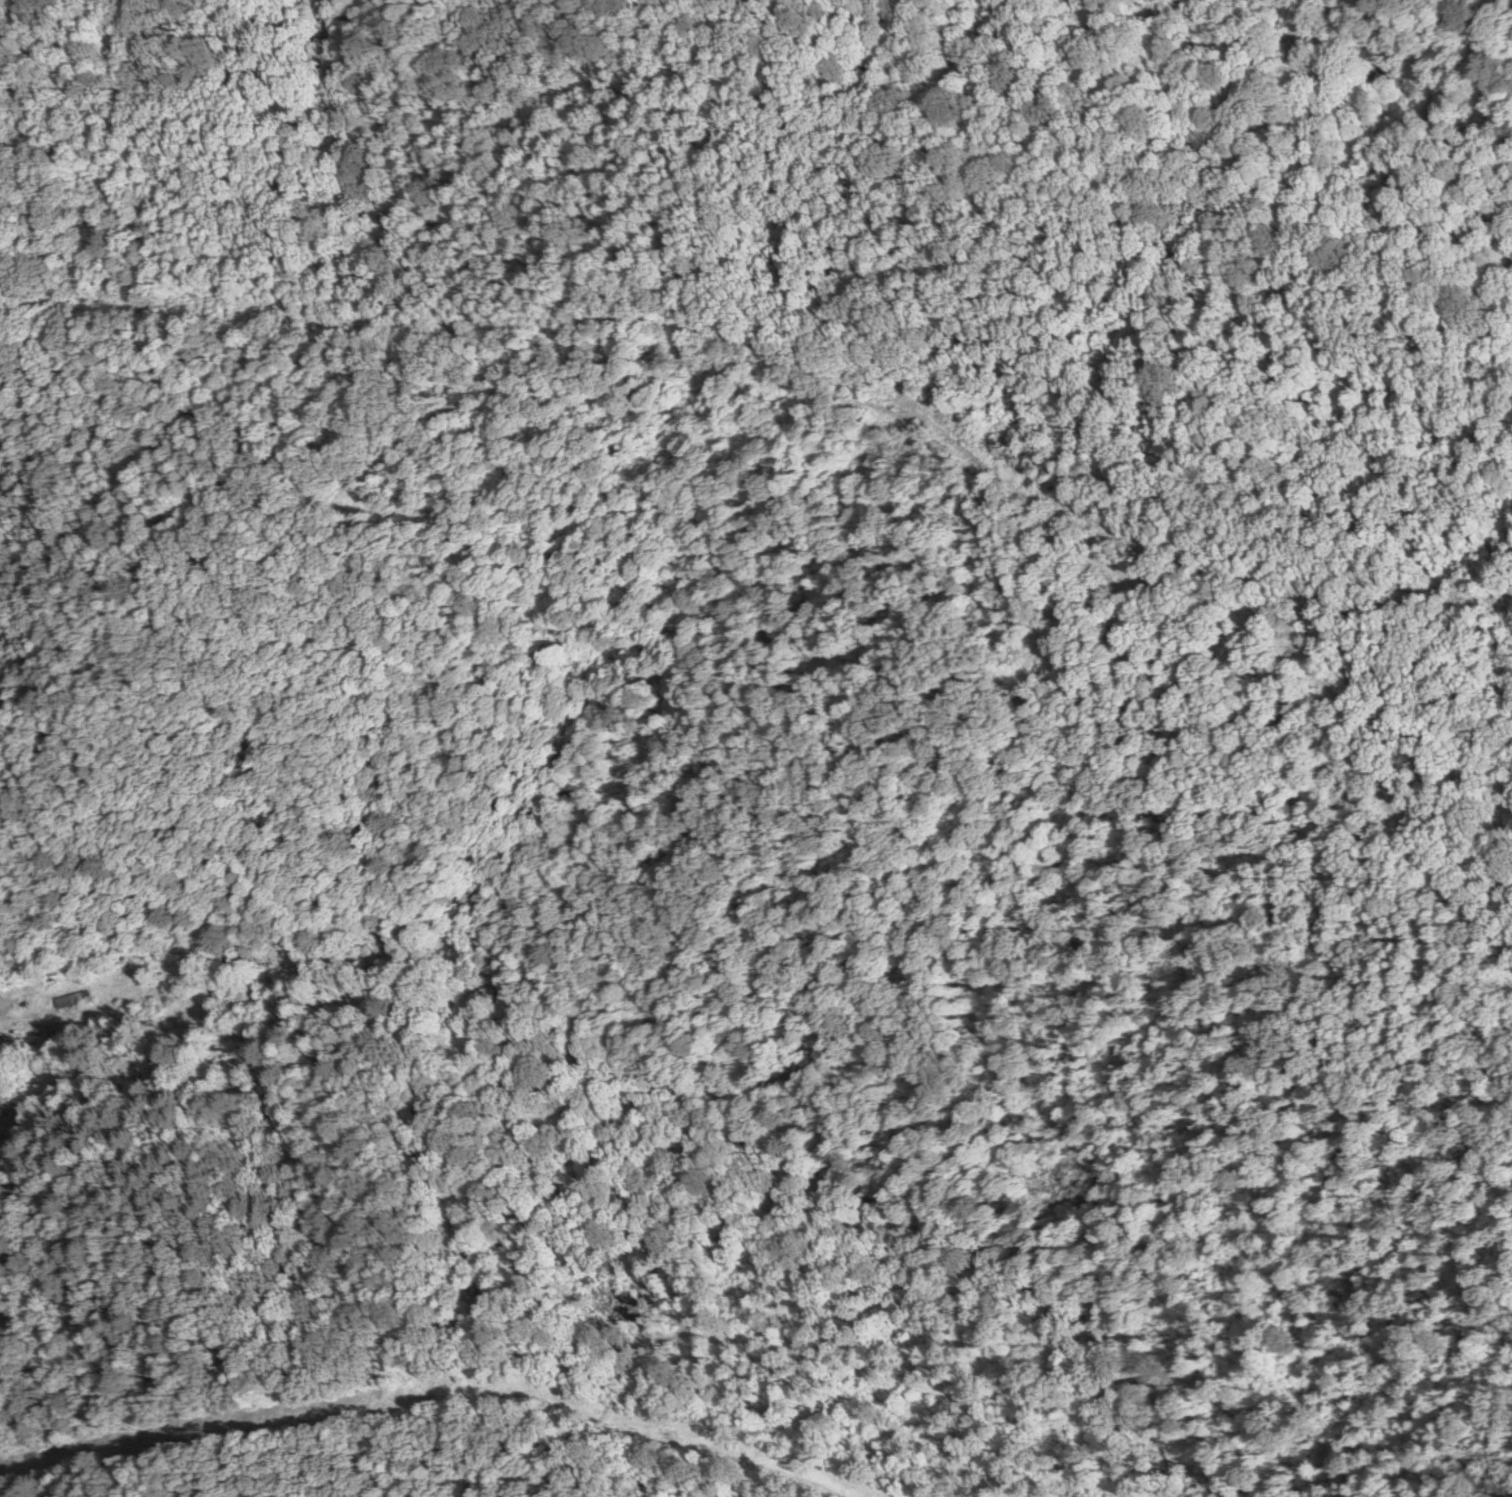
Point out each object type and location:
building: (73, 998)

